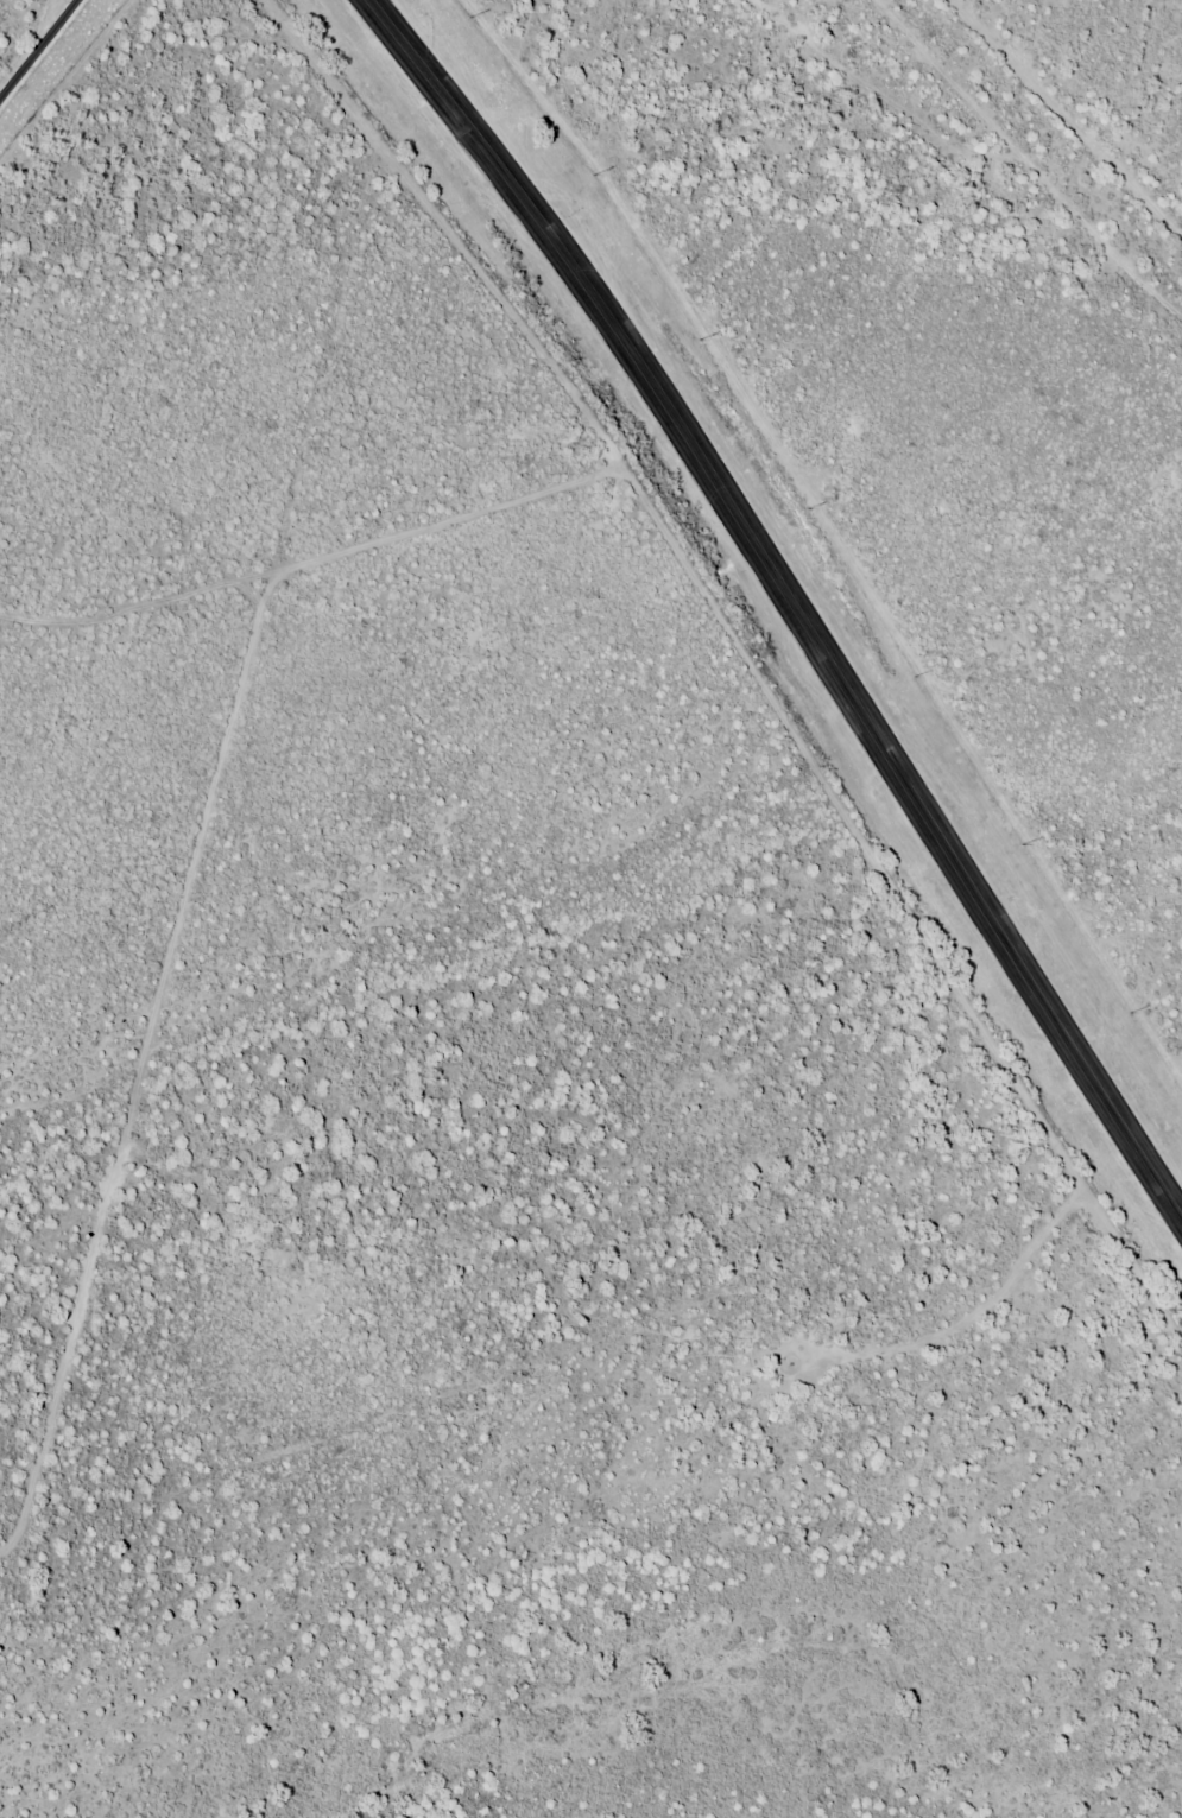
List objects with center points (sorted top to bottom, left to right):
road: (17, 13)
road: (791, 590)

